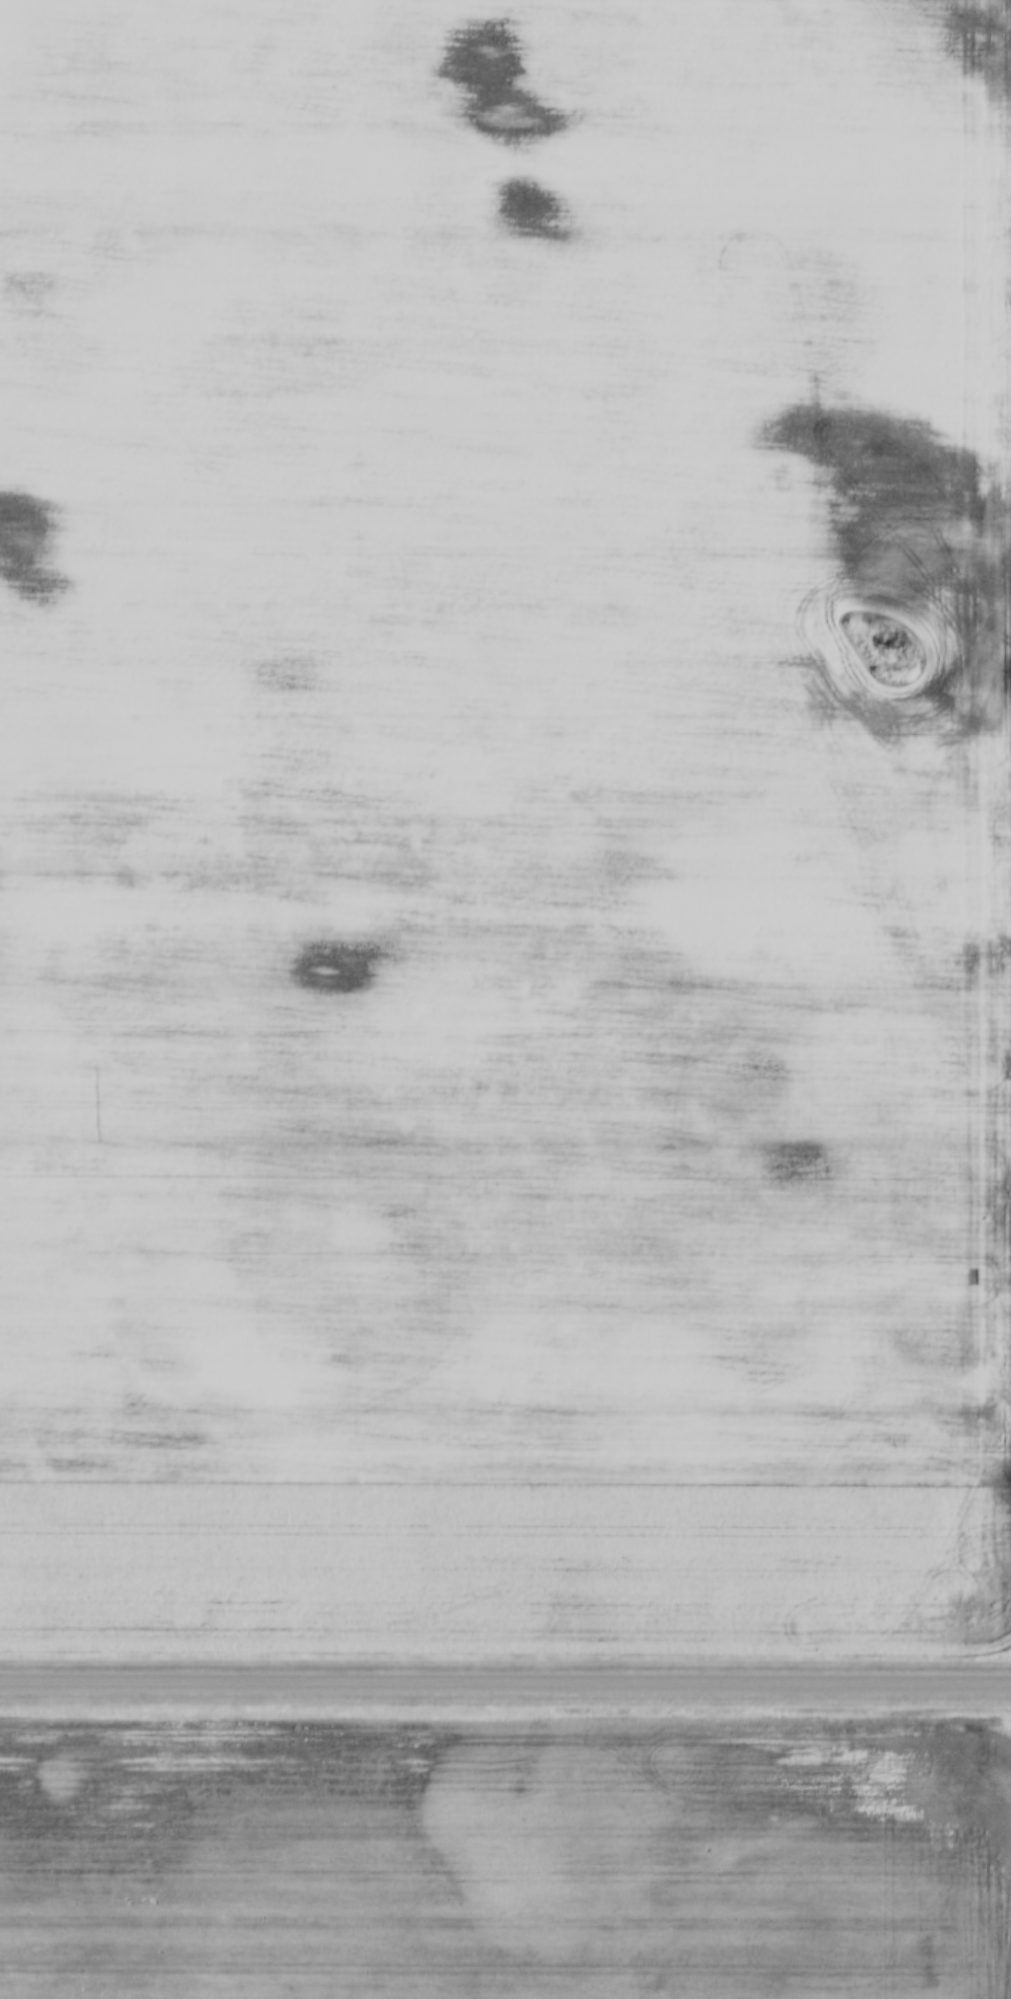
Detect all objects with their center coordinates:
road: (505, 1678)

